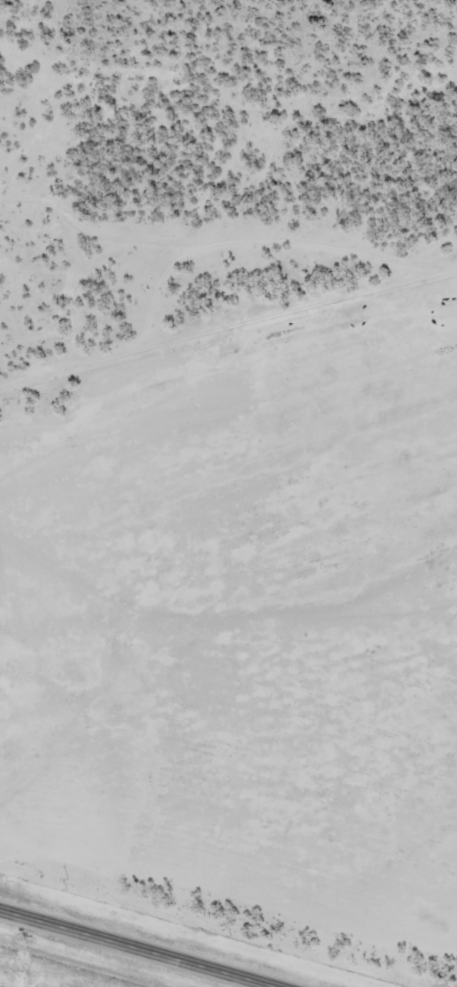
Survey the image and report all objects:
road: (139, 947)

